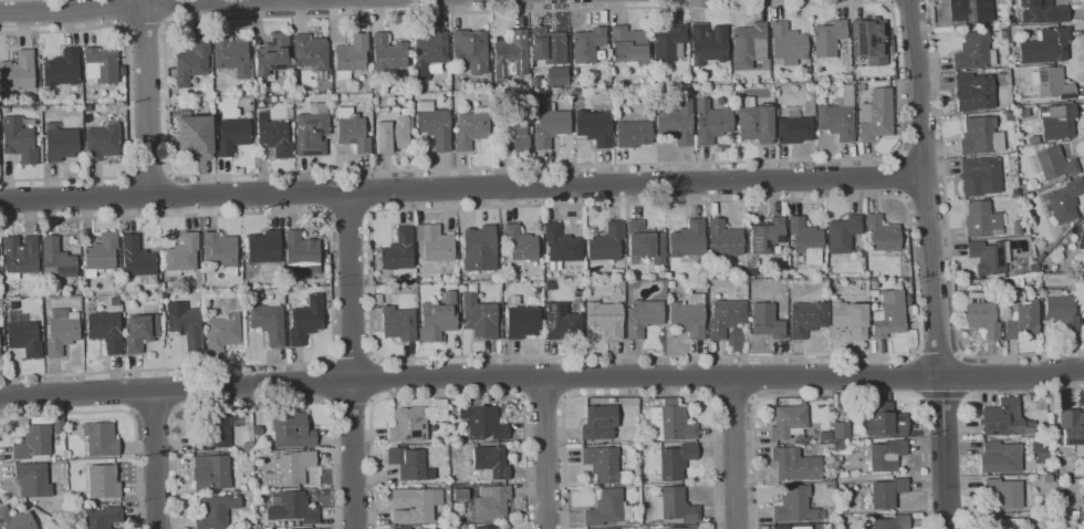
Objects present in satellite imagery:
road: (890, 1)
road: (898, 1)
road: (892, 6)
road: (82, 8)
building: (967, 10)
road: (166, 12)
building: (1043, 12)
road: (122, 13)
building: (1010, 23)
road: (145, 27)
building: (1002, 34)
building: (828, 38)
building: (869, 40)
building: (669, 43)
building: (708, 43)
building: (788, 43)
building: (587, 44)
building: (628, 44)
building: (1010, 44)
building: (549, 45)
building: (749, 45)
building: (1046, 46)
building: (470, 51)
building: (974, 51)
building: (311, 53)
building: (388, 53)
building: (429, 54)
building: (232, 55)
building: (272, 56)
building: (351, 56)
building: (510, 56)
building: (192, 61)
building: (101, 65)
building: (62, 69)
building: (575, 72)
building: (19, 74)
building: (554, 75)
building: (692, 79)
building: (535, 82)
building: (1052, 83)
building: (861, 87)
building: (569, 91)
building: (973, 92)
building: (407, 94)
road: (147, 97)
building: (298, 98)
building: (720, 101)
road: (126, 102)
building: (87, 108)
building: (405, 112)
building: (840, 115)
building: (876, 115)
building: (1009, 116)
building: (675, 121)
building: (1057, 121)
building: (712, 122)
building: (757, 123)
building: (434, 125)
building: (550, 126)
building: (594, 127)
building: (794, 127)
building: (471, 128)
building: (313, 131)
building: (353, 131)
building: (392, 131)
building: (512, 132)
building: (633, 133)
building: (195, 135)
building: (232, 135)
building: (273, 136)
building: (980, 136)
building: (39, 137)
building: (19, 141)
building: (102, 142)
building: (61, 143)
road: (921, 153)
building: (1053, 164)
road: (148, 175)
road: (901, 176)
building: (980, 176)
road: (462, 188)
road: (326, 191)
road: (369, 191)
road: (169, 194)
road: (126, 195)
building: (1063, 200)
road: (350, 216)
building: (982, 220)
building: (1018, 228)
building: (843, 234)
building: (883, 234)
building: (767, 235)
building: (688, 239)
building: (806, 239)
road: (948, 239)
building: (1082, 239)
building: (726, 240)
building: (435, 242)
building: (606, 242)
building: (644, 242)
building: (520, 243)
building: (561, 246)
building: (264, 247)
building: (480, 248)
building: (398, 250)
building: (221, 251)
building: (302, 252)
building: (102, 253)
building: (183, 255)
building: (20, 256)
building: (138, 259)
building: (988, 259)
building: (58, 263)
road: (931, 263)
building: (616, 272)
building: (671, 283)
building: (874, 283)
building: (382, 288)
road: (332, 290)
building: (874, 293)
building: (908, 299)
building: (1062, 310)
building: (890, 313)
building: (689, 315)
building: (1083, 315)
building: (480, 317)
building: (643, 317)
building: (726, 317)
building: (982, 317)
building: (807, 318)
building: (438, 319)
building: (606, 319)
building: (850, 319)
building: (1021, 319)
building: (305, 320)
building: (767, 321)
building: (522, 322)
building: (562, 322)
building: (185, 323)
building: (269, 323)
building: (398, 323)
building: (106, 330)
building: (62, 332)
building: (142, 332)
building: (222, 332)
building: (23, 335)
building: (880, 346)
building: (0, 354)
road: (917, 354)
road: (959, 355)
road: (938, 356)
road: (386, 359)
road: (353, 360)
road: (353, 360)
road: (542, 376)
road: (706, 377)
road: (373, 378)
road: (751, 378)
road: (331, 383)
road: (175, 391)
road: (132, 392)
road: (636, 394)
road: (942, 394)
road: (447, 396)
building: (612, 400)
road: (732, 402)
road: (351, 403)
road: (256, 404)
road: (123, 411)
road: (154, 412)
building: (1003, 418)
building: (883, 419)
building: (415, 422)
building: (671, 422)
building: (789, 422)
building: (483, 423)
building: (600, 423)
road: (752, 425)
building: (292, 429)
building: (840, 429)
building: (1072, 429)
building: (257, 431)
building: (216, 432)
building: (101, 438)
building: (450, 442)
building: (34, 444)
building: (476, 444)
building: (248, 446)
road: (545, 453)
road: (731, 453)
building: (885, 455)
building: (1000, 457)
road: (156, 458)
building: (675, 460)
building: (491, 463)
building: (409, 464)
building: (604, 464)
building: (795, 465)
building: (290, 468)
building: (211, 473)
building: (830, 477)
building: (33, 480)
building: (647, 480)
building: (103, 481)
building: (447, 487)
building: (646, 491)
building: (885, 491)
building: (1003, 492)
building: (461, 494)
building: (1081, 501)
building: (491, 504)
building: (415, 505)
building: (676, 506)
building: (796, 506)
building: (294, 508)
building: (608, 508)
building: (216, 511)
building: (102, 517)
building: (15, 519)
building: (889, 522)
building: (1007, 522)
building: (418, 526)
building: (484, 527)
building: (687, 527)
building: (782, 527)
building: (305, 528)
building: (404, 528)
building: (427, 528)
building: (619, 528)

